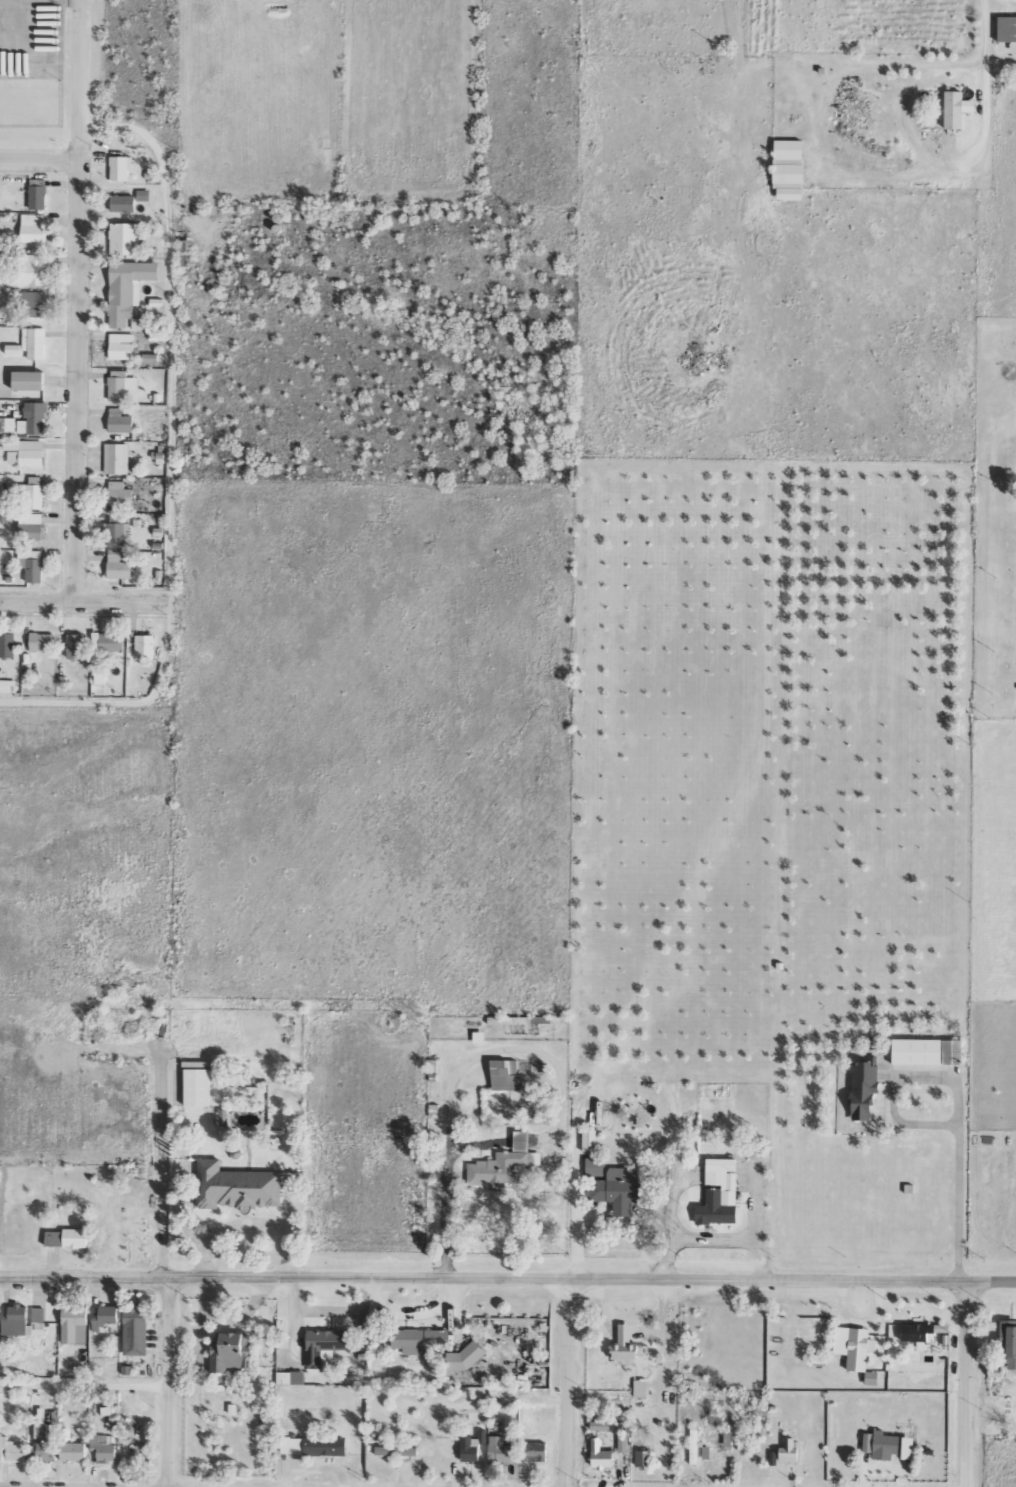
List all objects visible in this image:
building: (1006, 31)
road: (984, 103)
building: (951, 116)
building: (786, 152)
road: (41, 162)
building: (120, 167)
building: (786, 175)
building: (37, 194)
building: (787, 194)
building: (143, 195)
building: (122, 203)
building: (33, 227)
building: (124, 238)
building: (32, 269)
building: (127, 288)
road: (78, 300)
building: (33, 304)
building: (138, 323)
building: (35, 342)
building: (121, 346)
building: (13, 349)
building: (28, 380)
building: (120, 384)
building: (33, 418)
building: (120, 421)
building: (7, 424)
building: (24, 452)
building: (116, 458)
road: (169, 458)
building: (34, 492)
building: (2, 493)
building: (119, 493)
building: (31, 526)
building: (117, 530)
building: (32, 564)
building: (118, 565)
road: (35, 600)
road: (119, 601)
building: (42, 642)
building: (108, 642)
building: (7, 645)
building: (75, 646)
building: (145, 646)
building: (99, 675)
building: (8, 686)
building: (479, 1037)
building: (928, 1052)
building: (506, 1075)
building: (197, 1083)
building: (864, 1090)
building: (589, 1140)
building: (503, 1165)
building: (612, 1186)
building: (237, 1187)
building: (719, 1193)
building: (75, 1238)
road: (484, 1278)
road: (992, 1282)
building: (105, 1316)
building: (23, 1321)
building: (74, 1324)
building: (135, 1330)
building: (919, 1332)
building: (1008, 1339)
building: (421, 1340)
building: (324, 1343)
building: (625, 1343)
building: (840, 1346)
building: (859, 1348)
building: (230, 1350)
building: (466, 1355)
building: (290, 1377)
road: (171, 1381)
road: (569, 1383)
road: (968, 1384)
building: (640, 1387)
building: (42, 1414)
building: (110, 1414)
building: (600, 1424)
building: (42, 1430)
building: (728, 1438)
building: (744, 1440)
building: (868, 1441)
building: (623, 1443)
building: (885, 1444)
building: (313, 1445)
building: (472, 1445)
building: (104, 1446)
building: (694, 1446)
building: (908, 1447)
building: (501, 1449)
building: (789, 1449)
building: (12, 1450)
building: (73, 1450)
building: (46, 1451)
building: (534, 1451)
building: (706, 1452)
building: (602, 1454)

